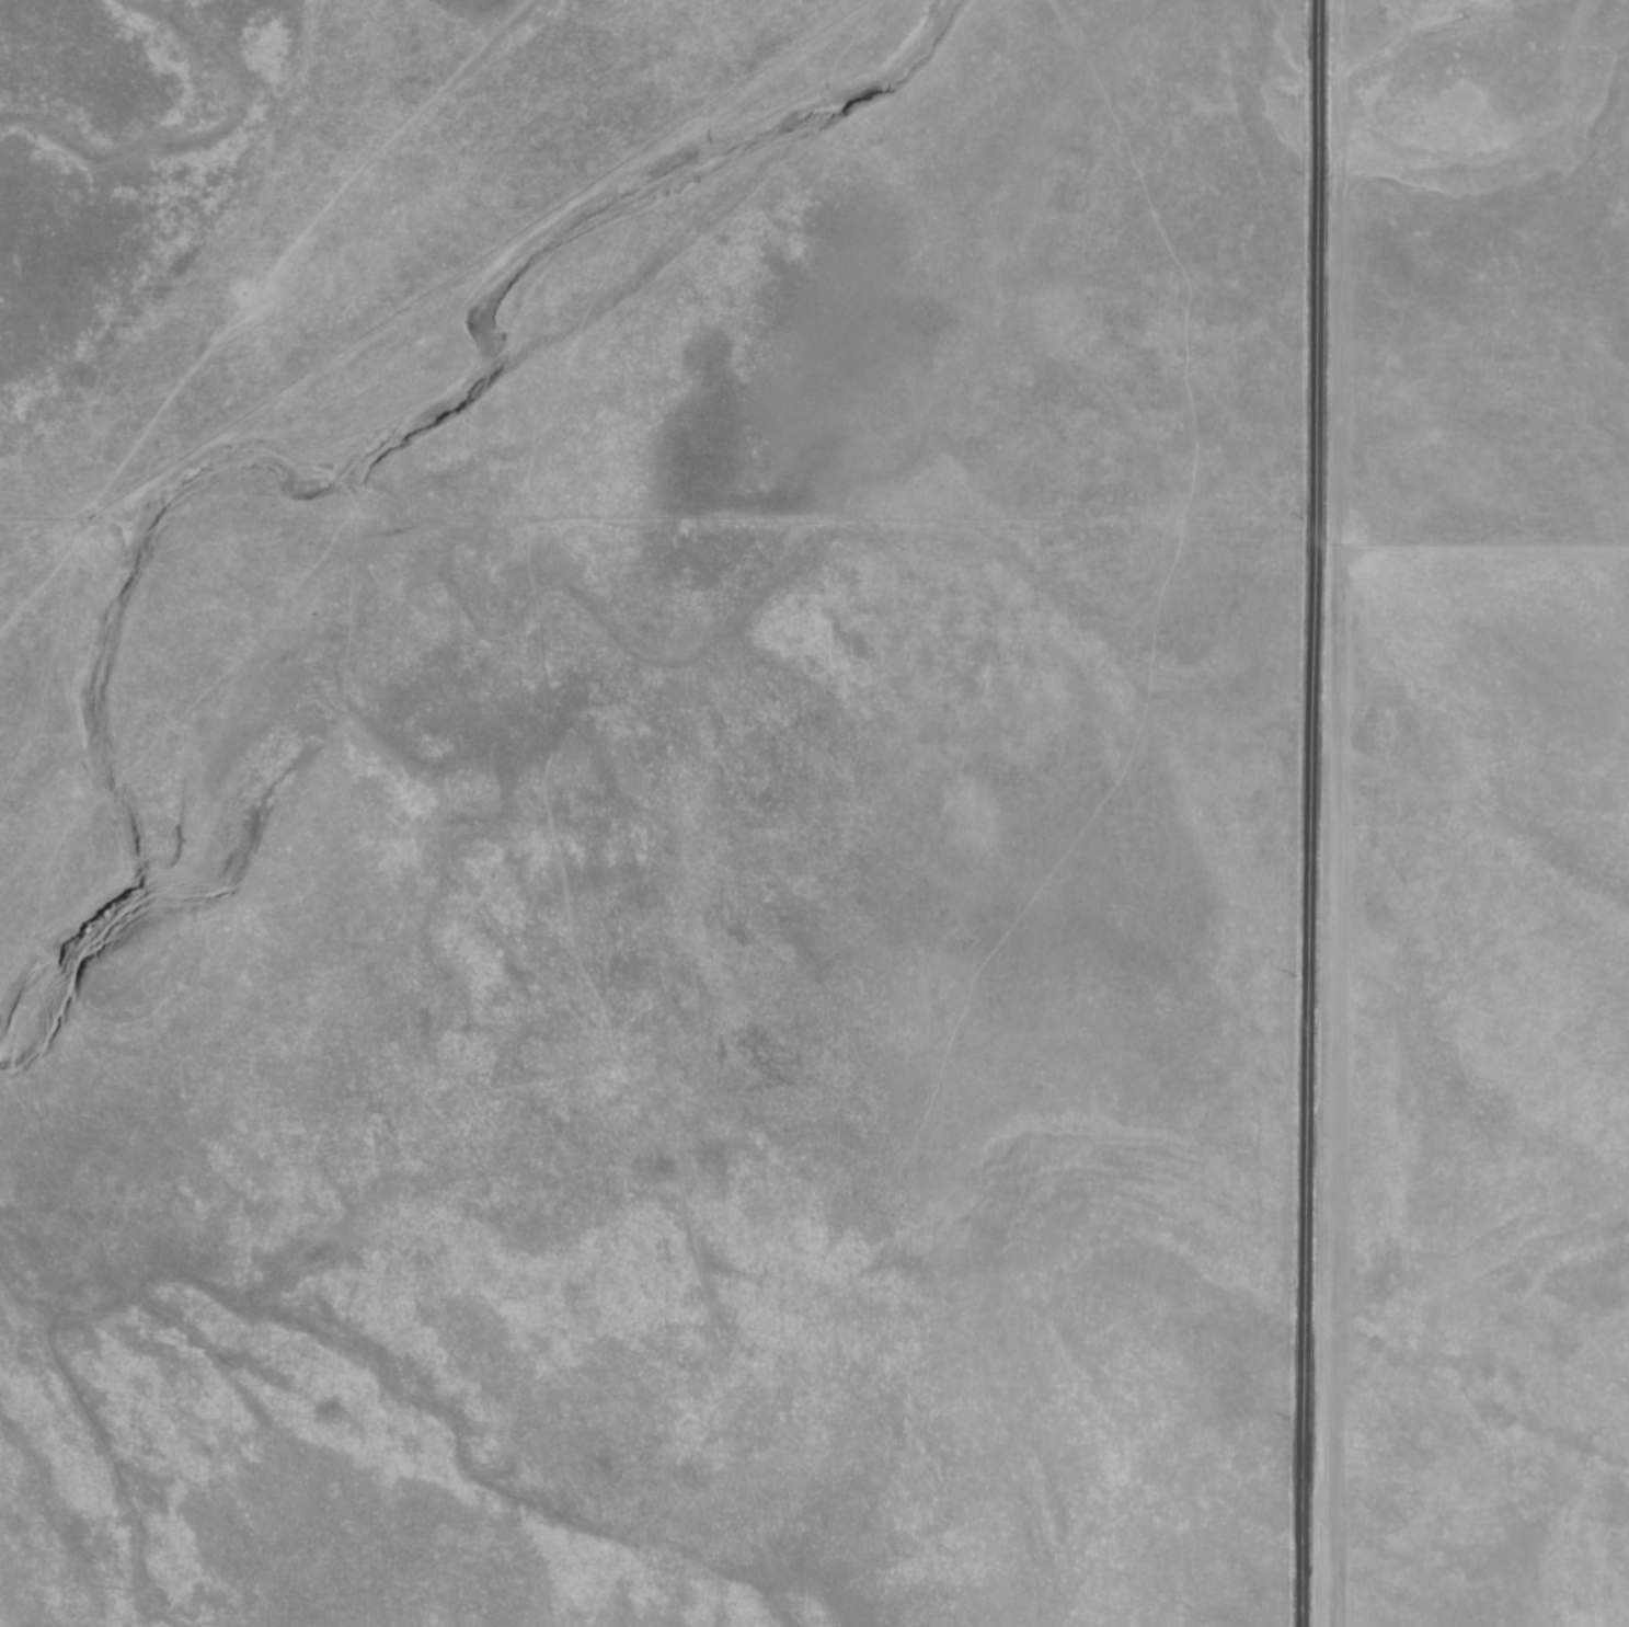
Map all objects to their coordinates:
crop: (1435, 23)
road: (1319, 813)

